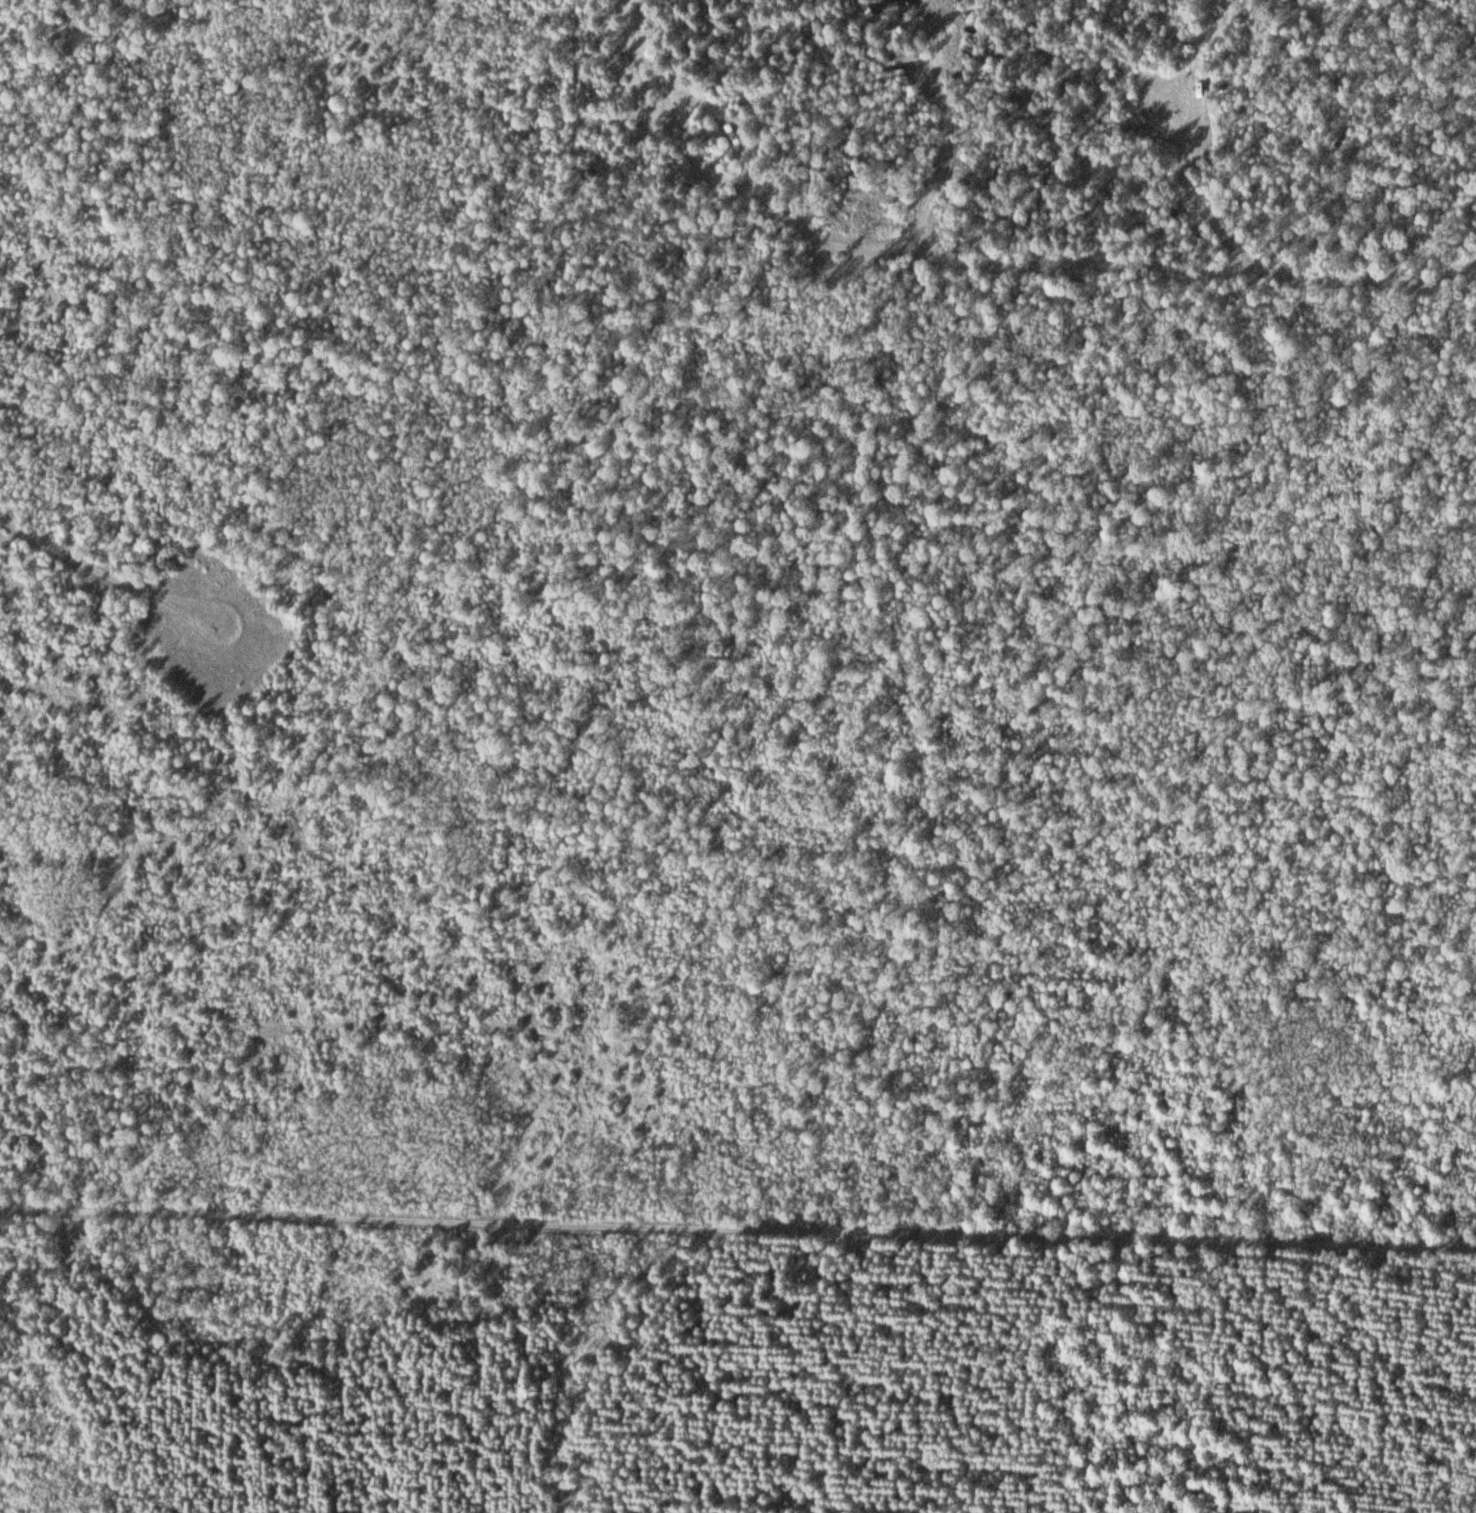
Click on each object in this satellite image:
building: (1172, 85)
road: (674, 92)
road: (1109, 259)
road: (110, 563)
road: (738, 1237)

